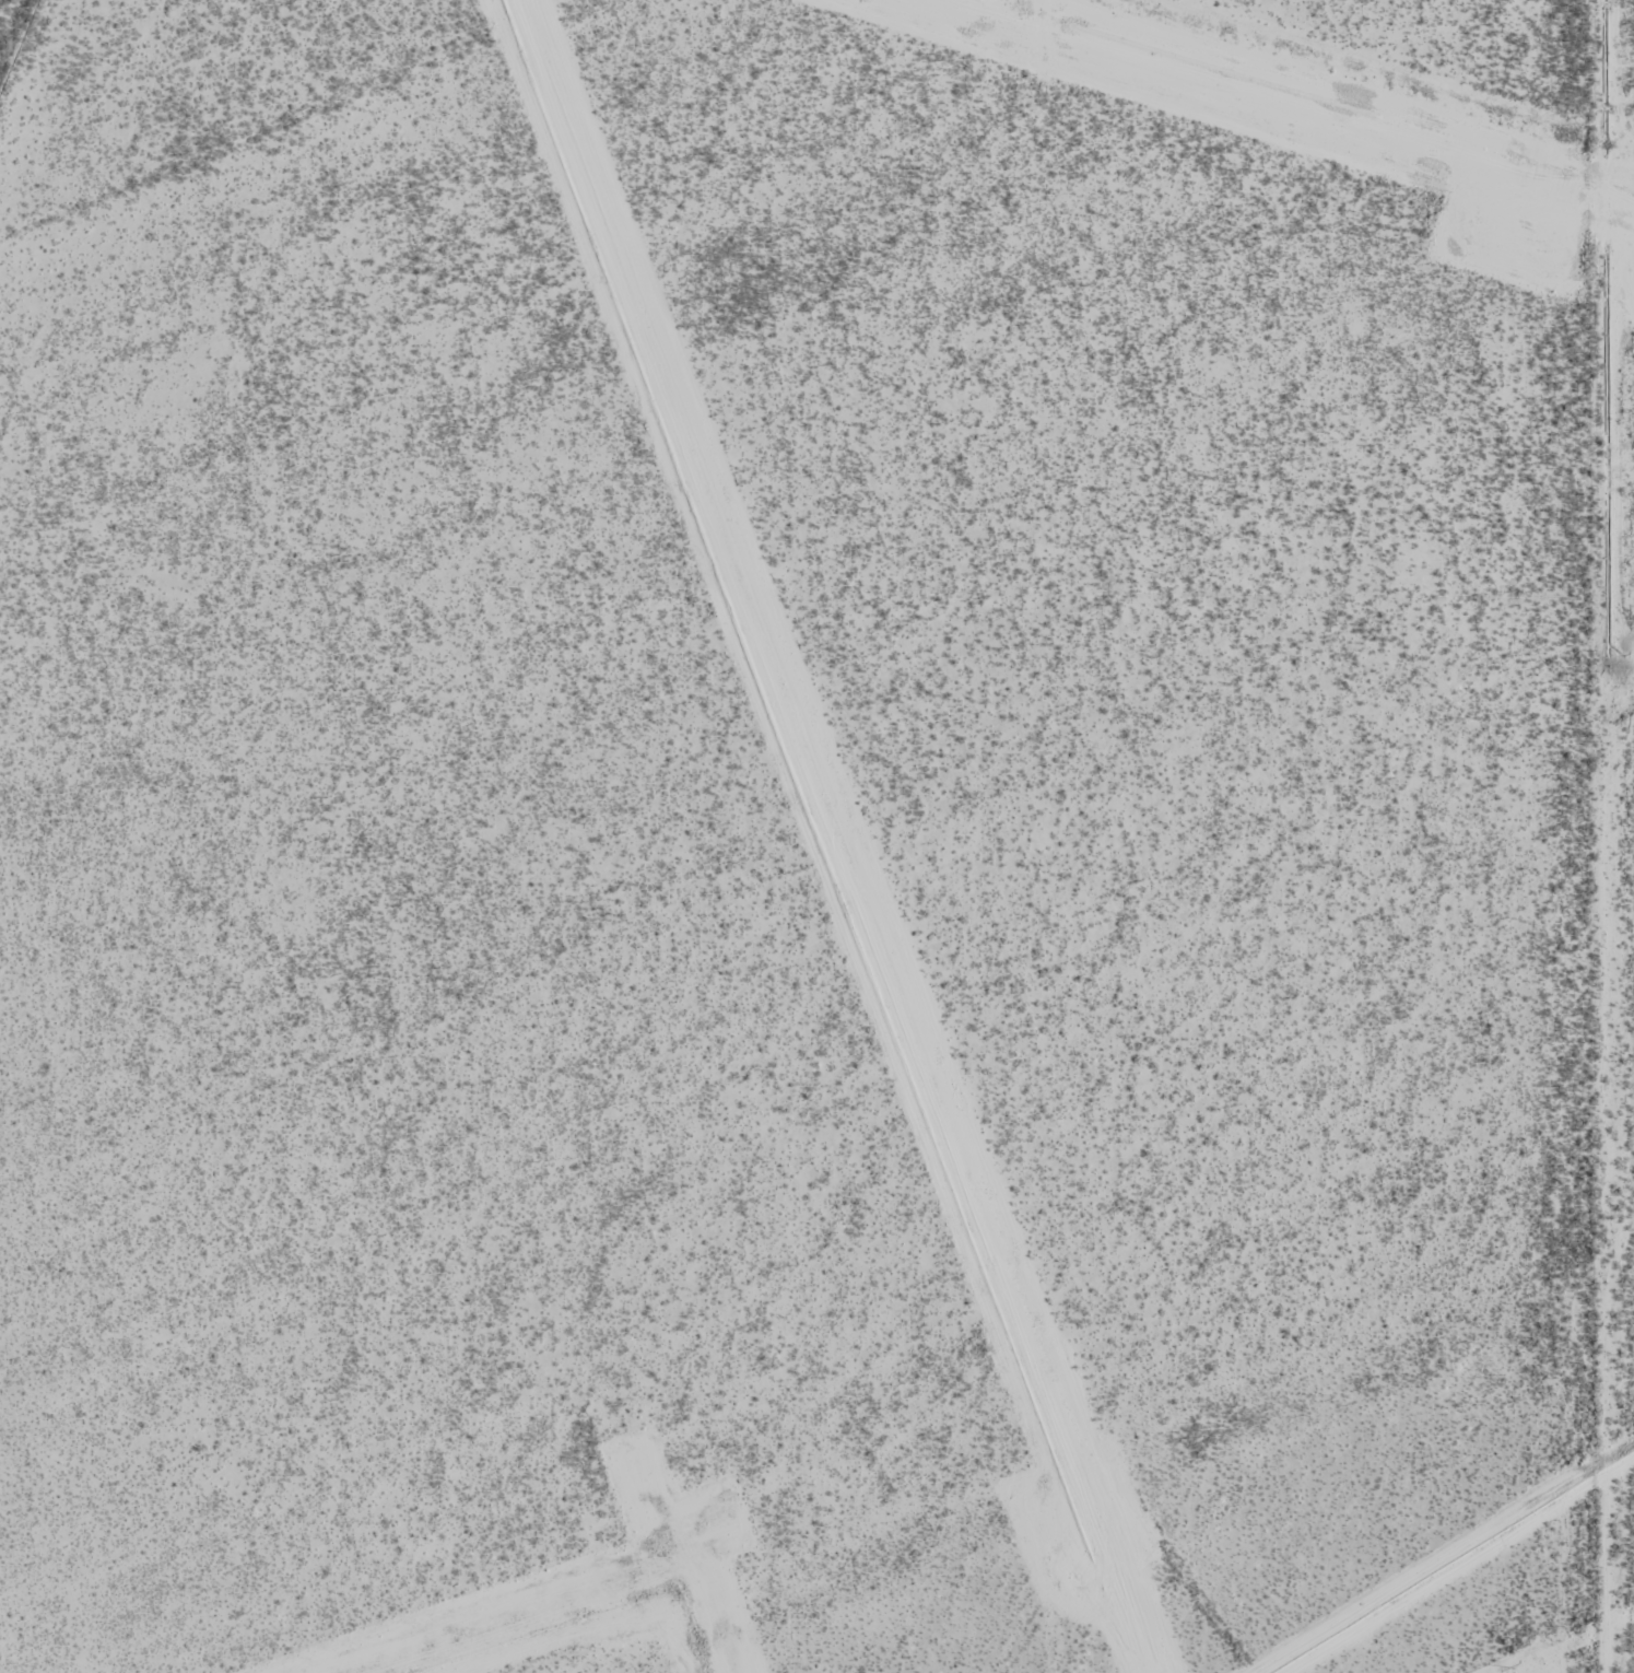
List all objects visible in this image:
road: (1548, 836)

